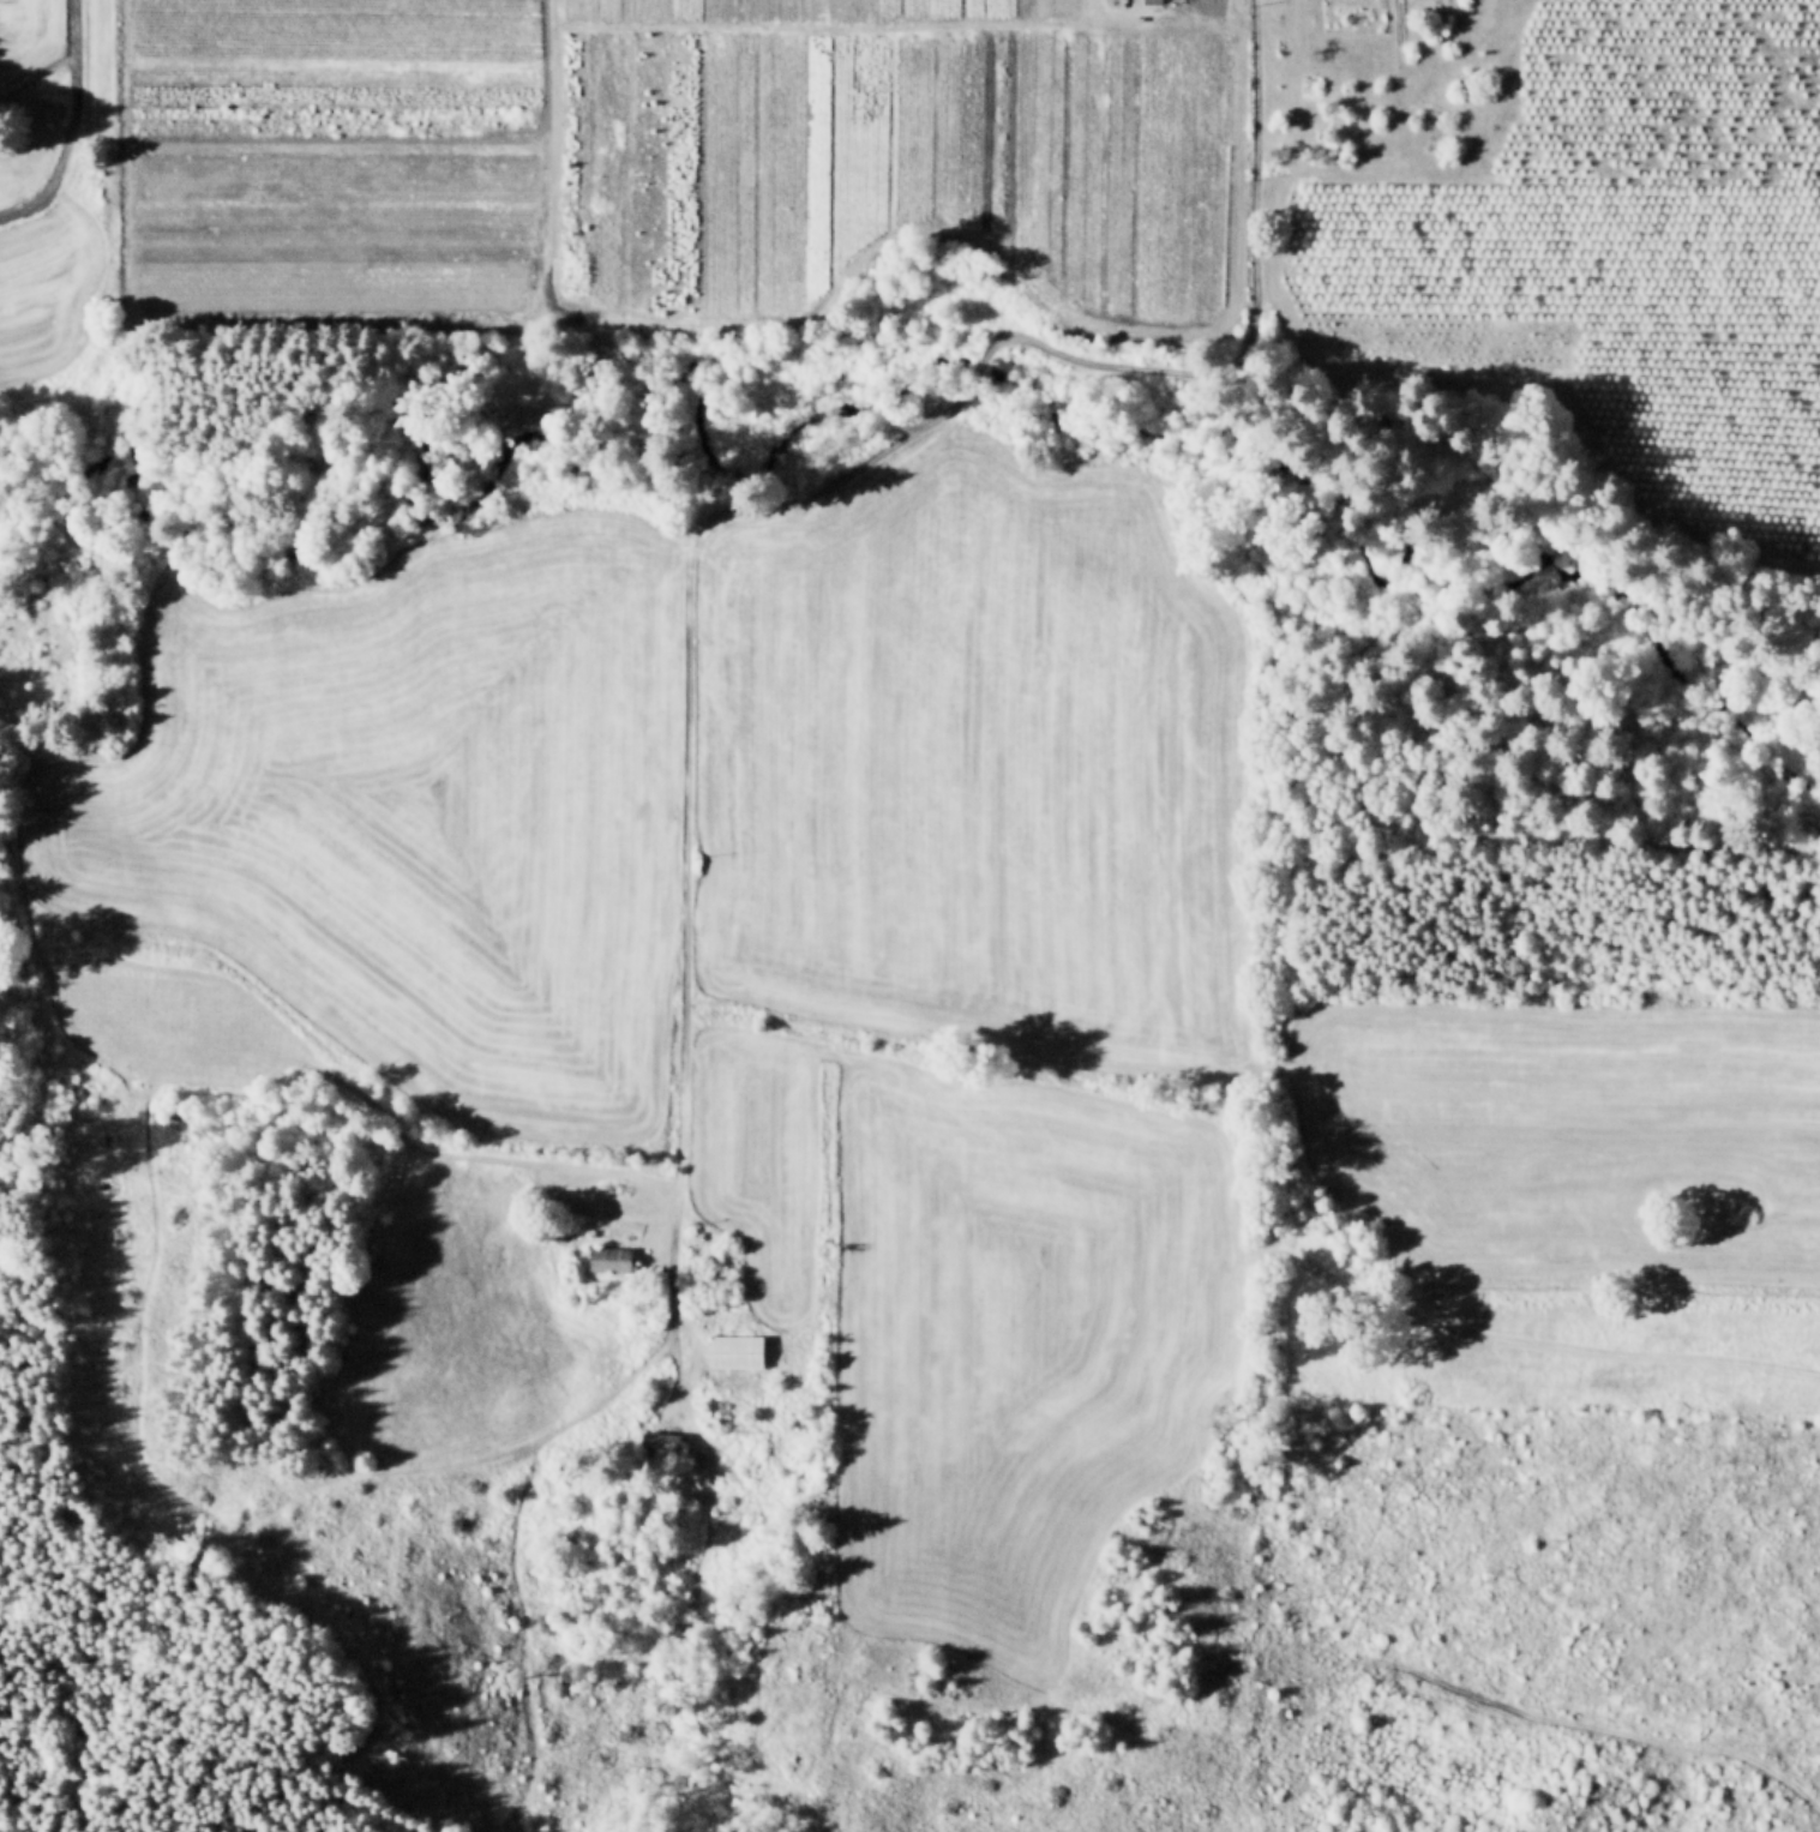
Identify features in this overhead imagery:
building: (1155, 2)
road: (902, 25)
crop: (29, 48)
road: (74, 126)
crop: (661, 156)
road: (549, 166)
crop: (1606, 246)
crop: (41, 248)
road: (746, 510)
crop: (969, 758)
crop: (413, 805)
crop: (1556, 1099)
crop: (1615, 1239)
building: (617, 1260)
building: (740, 1351)
building: (661, 1443)

